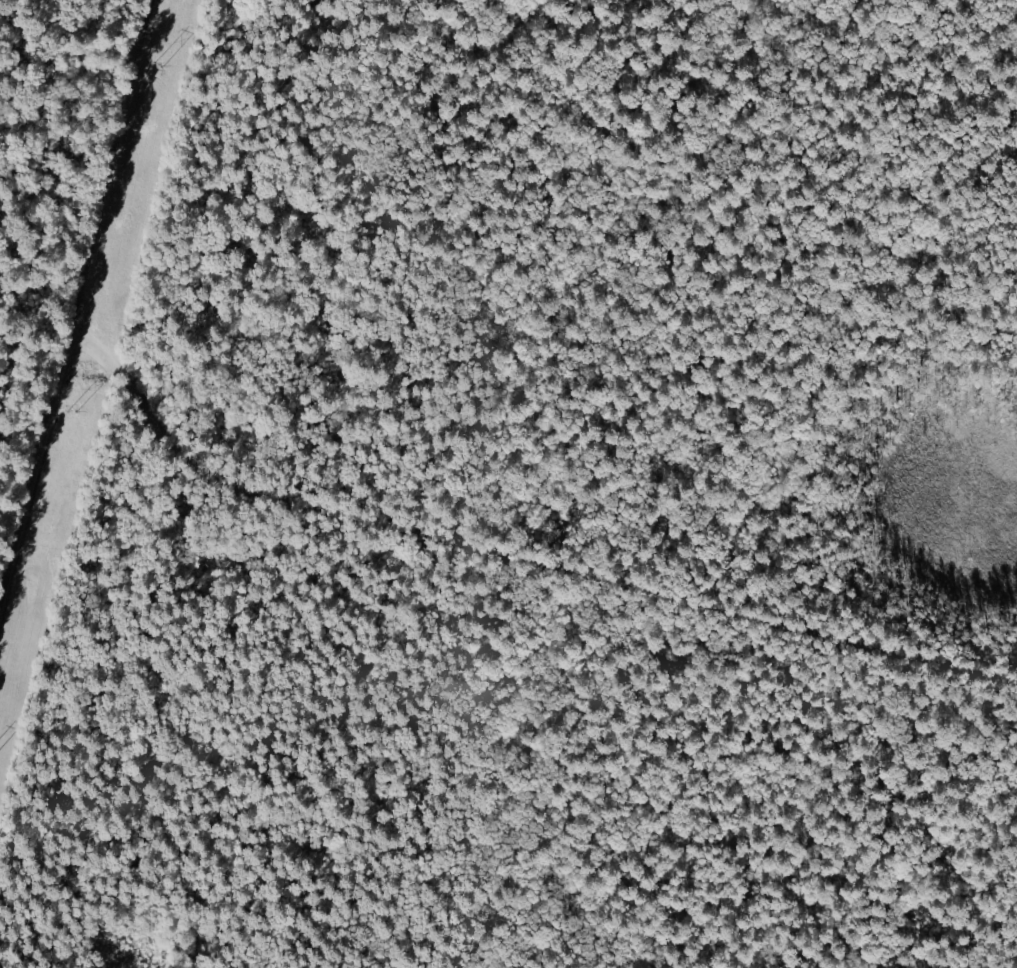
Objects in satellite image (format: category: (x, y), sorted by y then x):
power tower: (158, 65)
road: (77, 302)
power tower: (71, 413)
road: (514, 575)
road: (30, 954)

